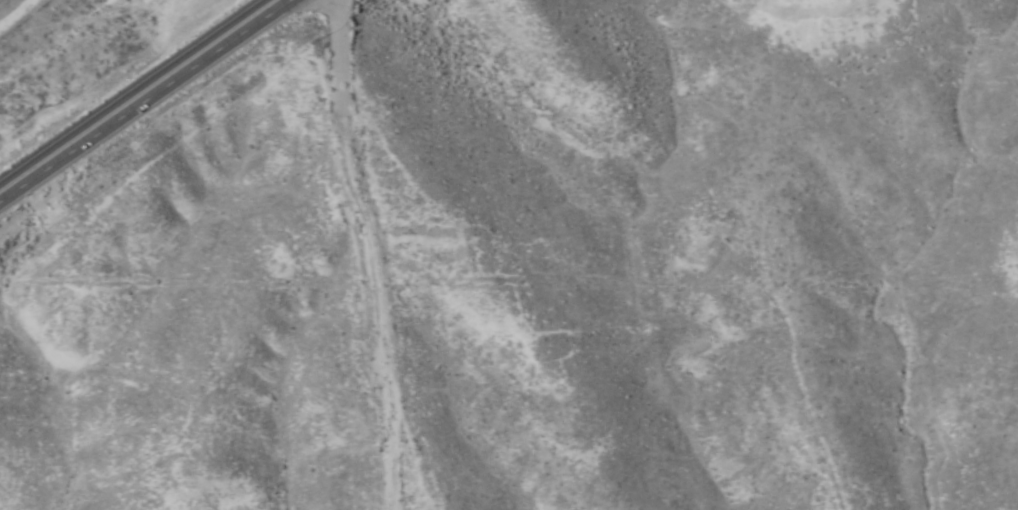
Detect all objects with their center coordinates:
road: (138, 97)
road: (392, 249)
crop: (580, 284)

